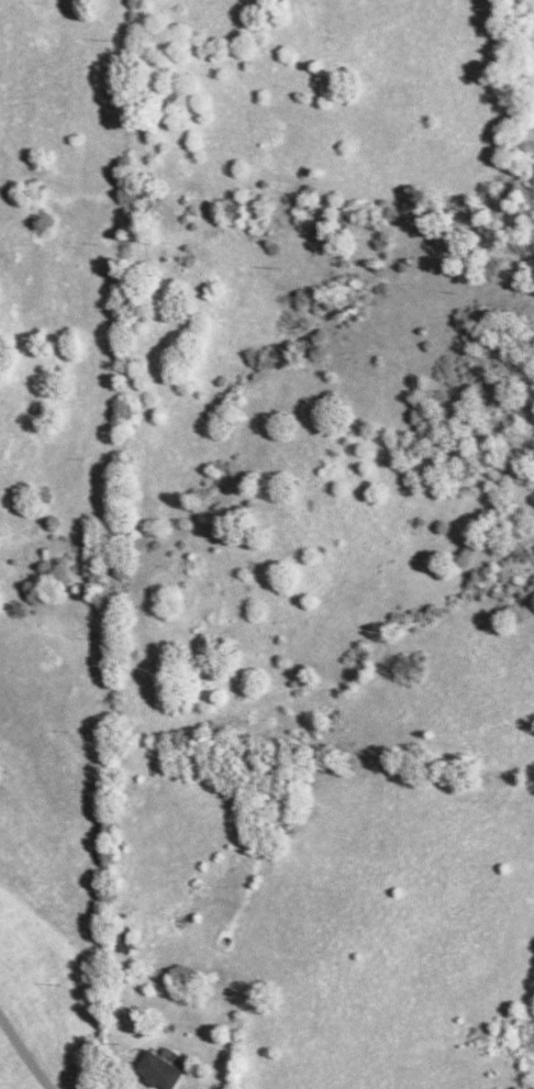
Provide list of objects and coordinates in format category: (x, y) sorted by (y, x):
building: (120, 942)
road: (23, 1056)
building: (157, 1070)

